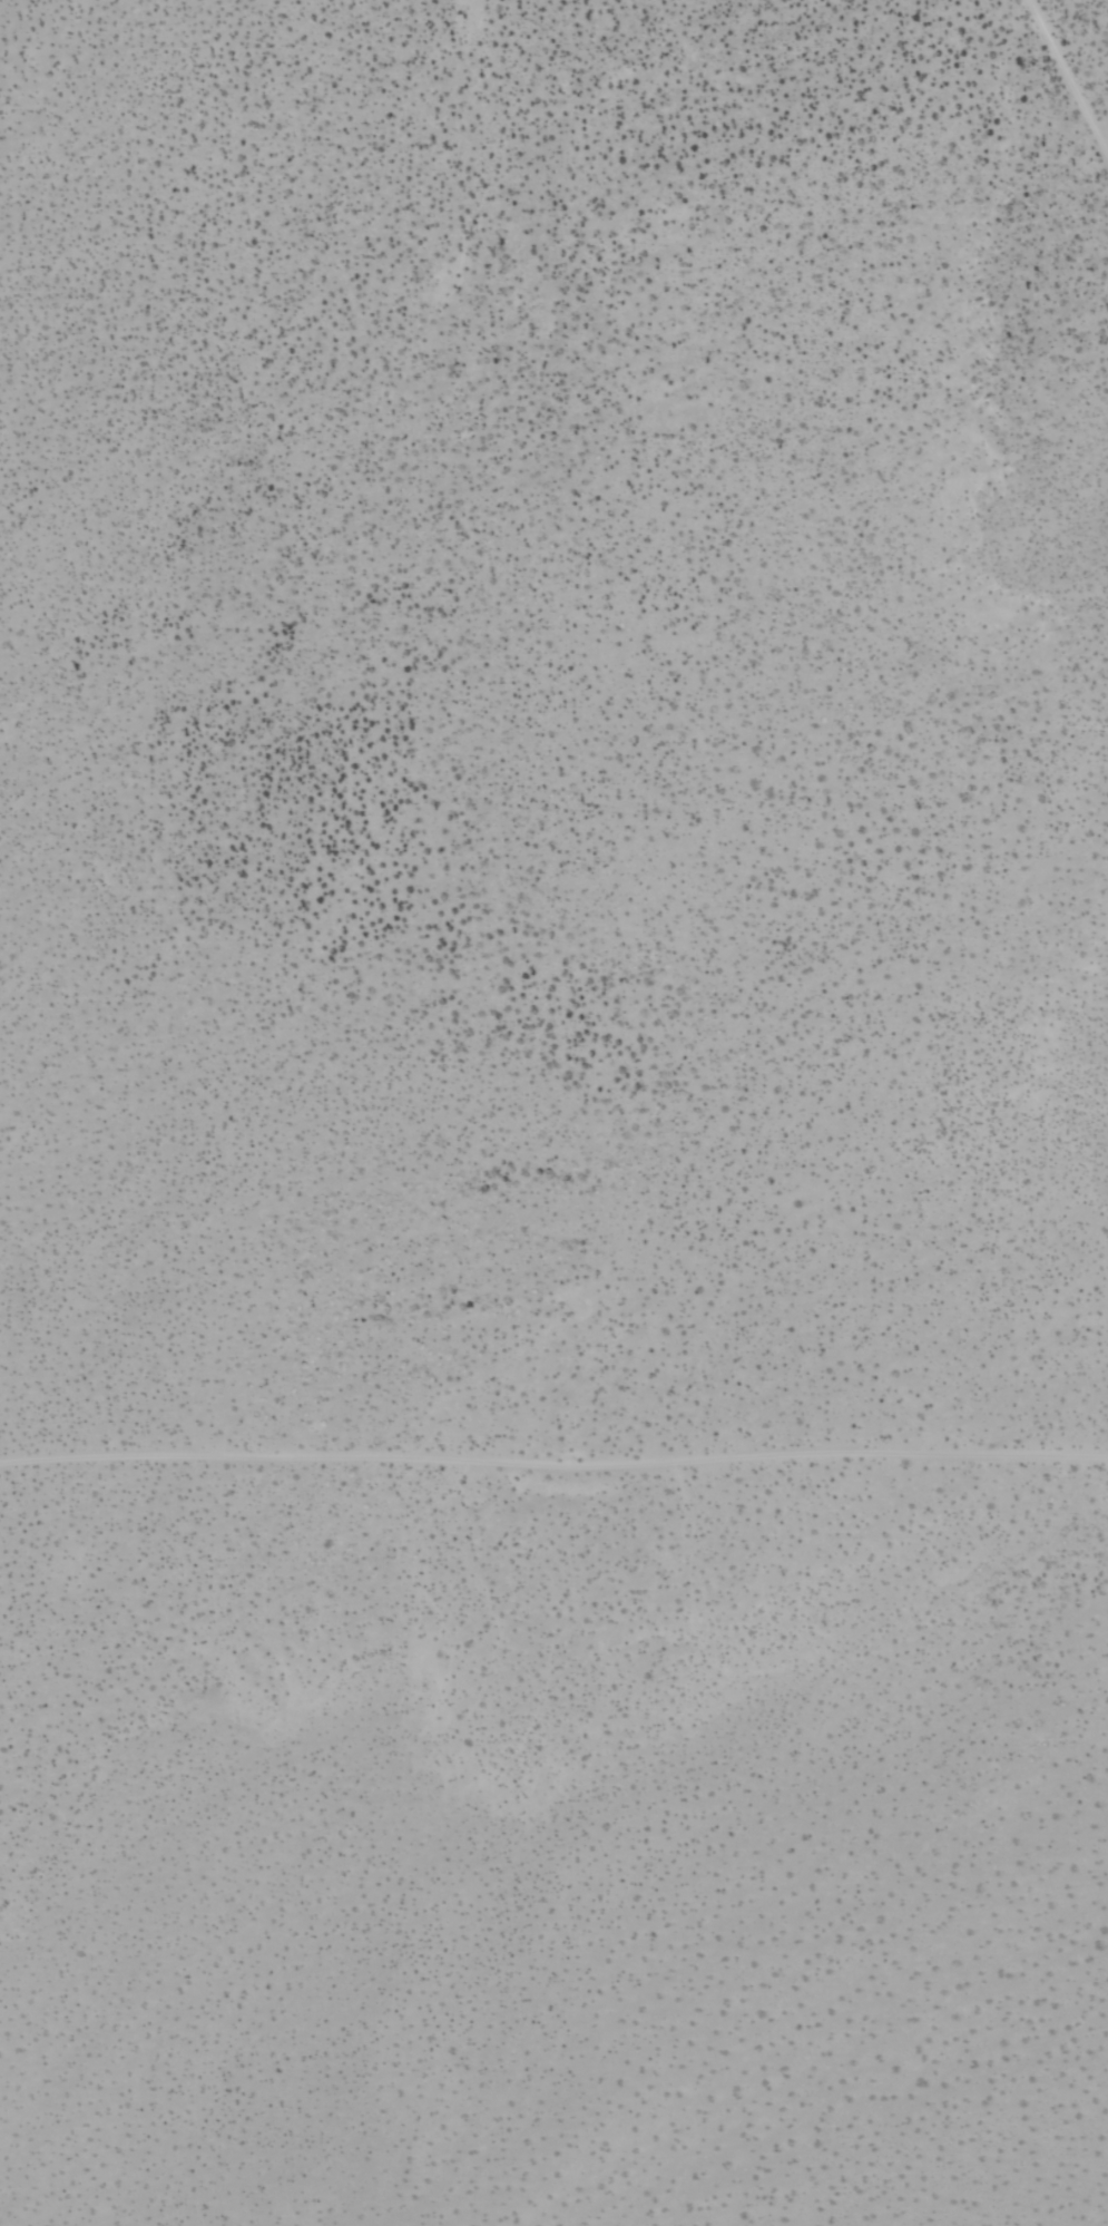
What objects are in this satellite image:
road: (1063, 85)
road: (372, 1422)
road: (925, 1444)

